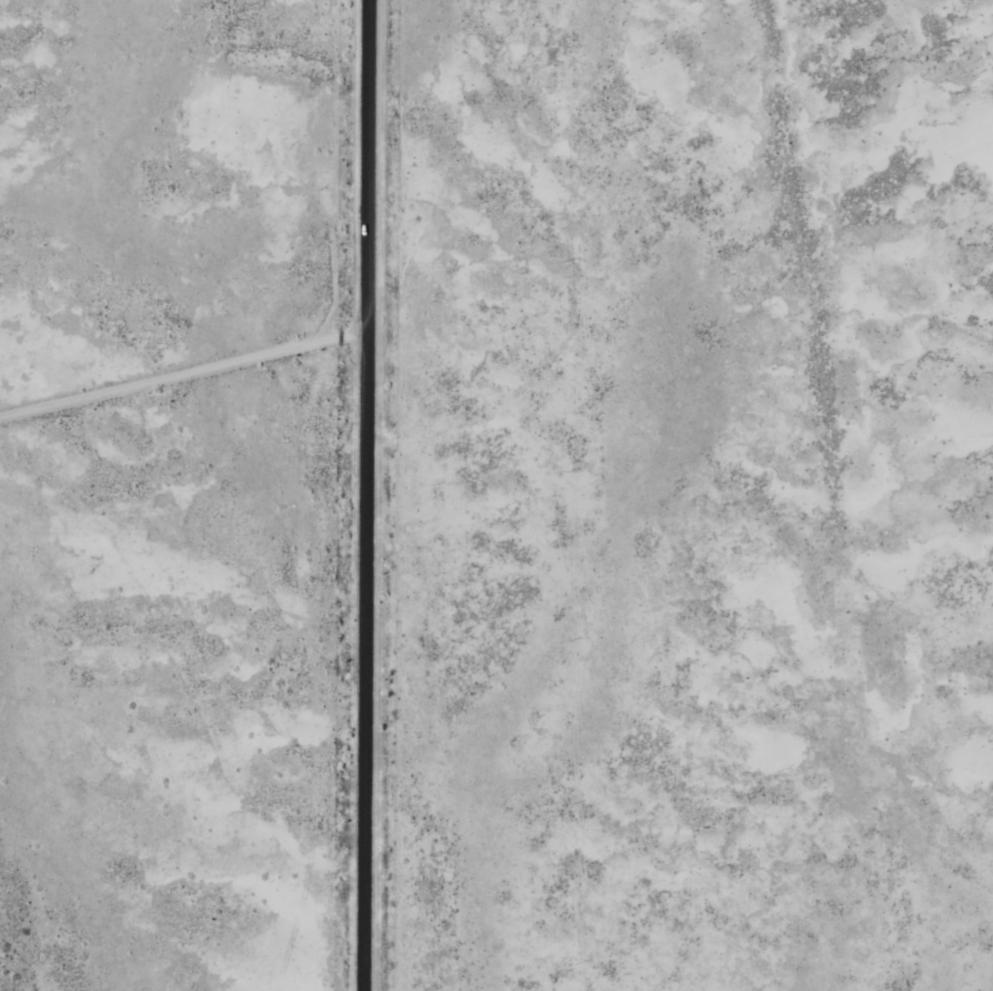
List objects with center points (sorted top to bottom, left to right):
road: (183, 373)
road: (364, 495)

